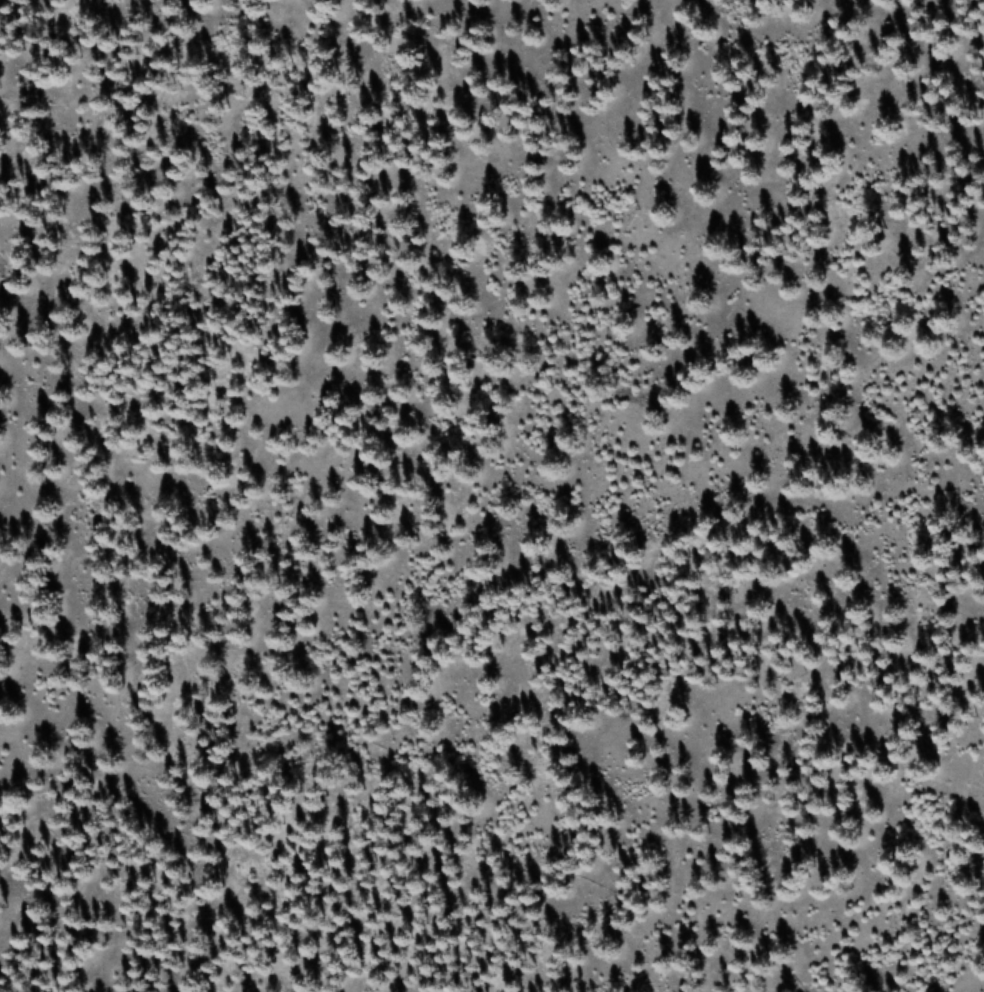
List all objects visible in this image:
road: (30, 58)

